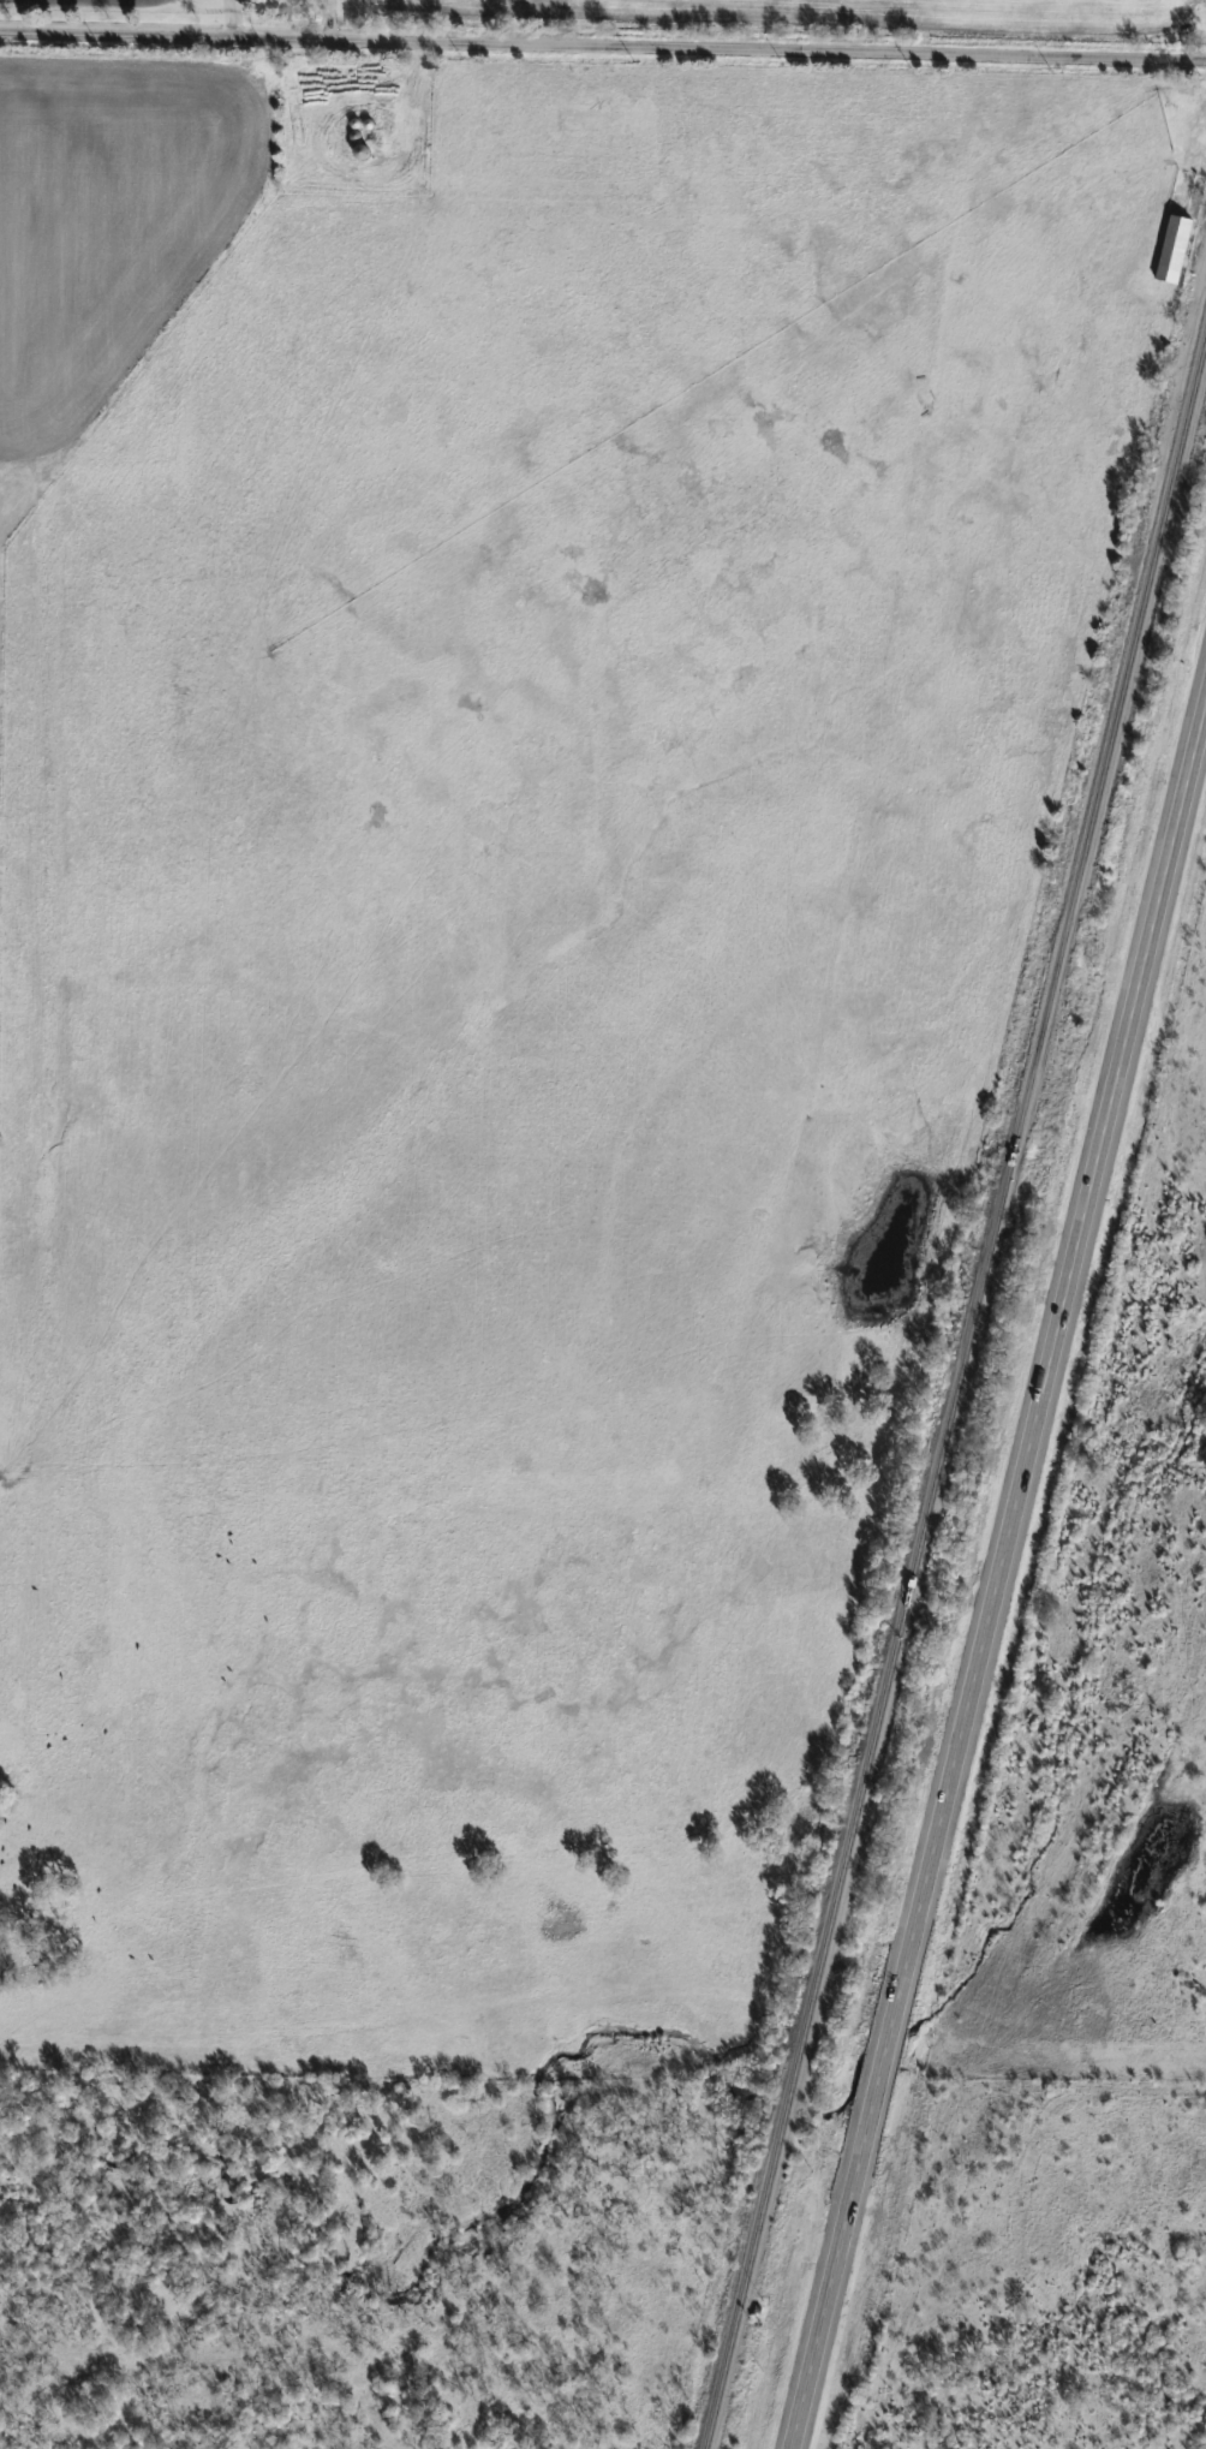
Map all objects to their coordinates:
road: (603, 48)
building: (581, 118)
building: (362, 149)
building: (1175, 246)
railway: (957, 1398)
road: (995, 1562)

